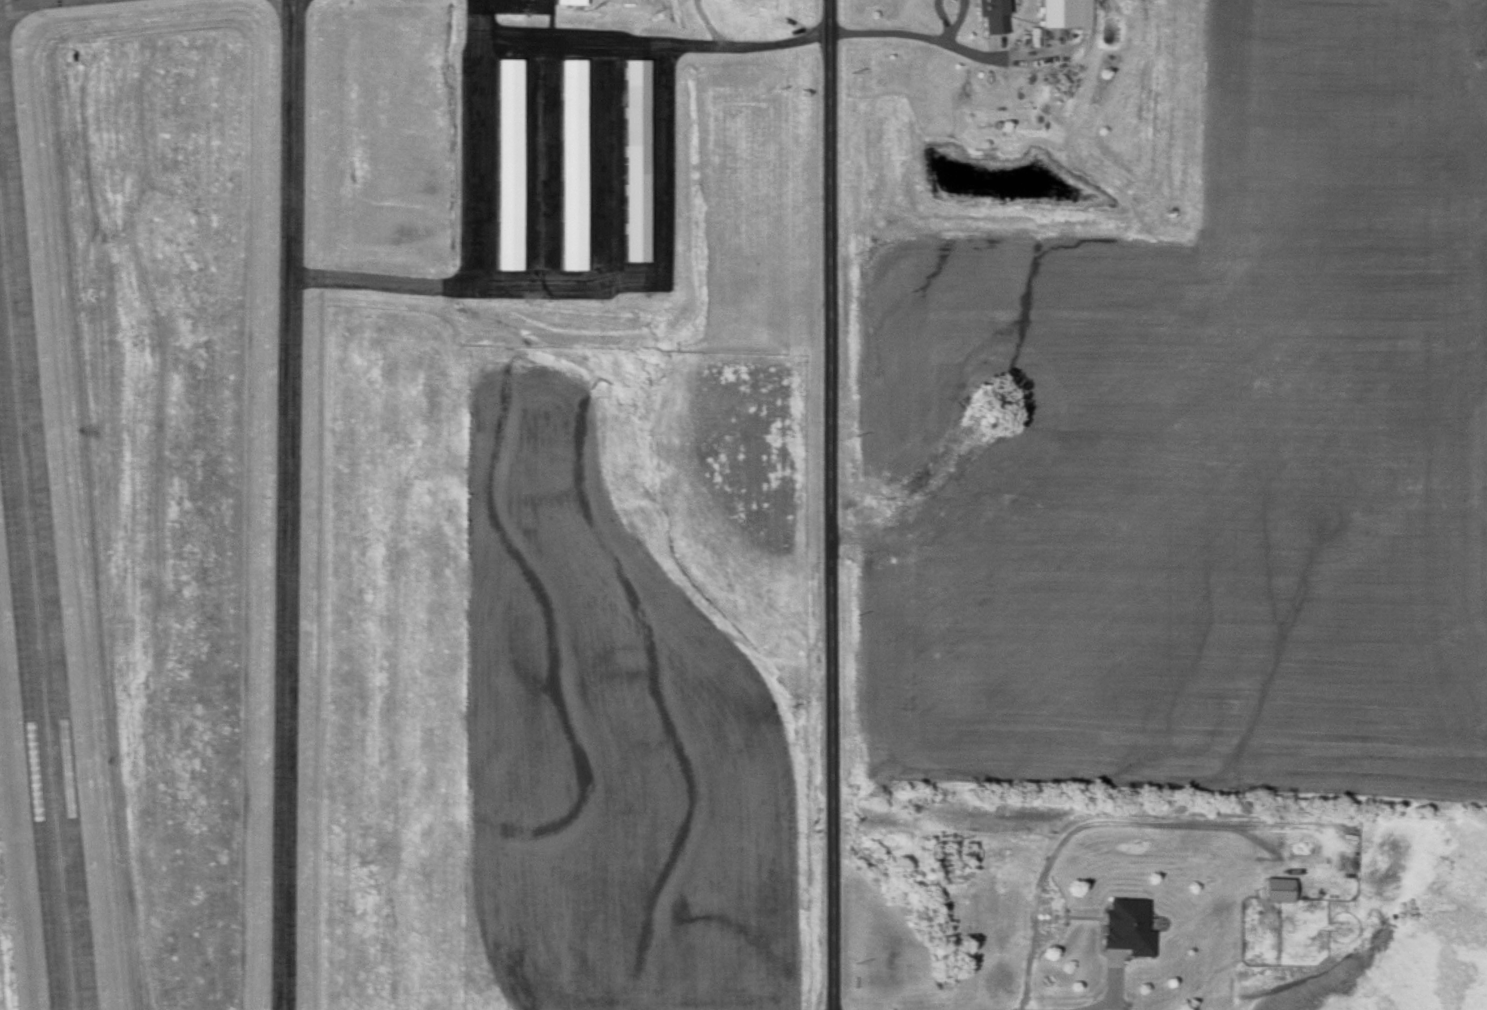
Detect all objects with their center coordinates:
airport taxiway: (20, 1)
building: (564, 4)
airport apron: (513, 7)
building: (1065, 14)
building: (995, 16)
road: (914, 37)
road: (652, 46)
airport taxiway: (536, 165)
building: (630, 165)
airport taxiway: (475, 166)
building: (505, 167)
airport taxiway: (600, 167)
building: (569, 168)
airport taxiway: (592, 288)
crop: (1211, 456)
airport taxiway: (285, 504)
road: (827, 504)
airport: (407, 505)
airport runway: (34, 637)
building: (1281, 891)
building: (1130, 928)
road: (982, 1005)

